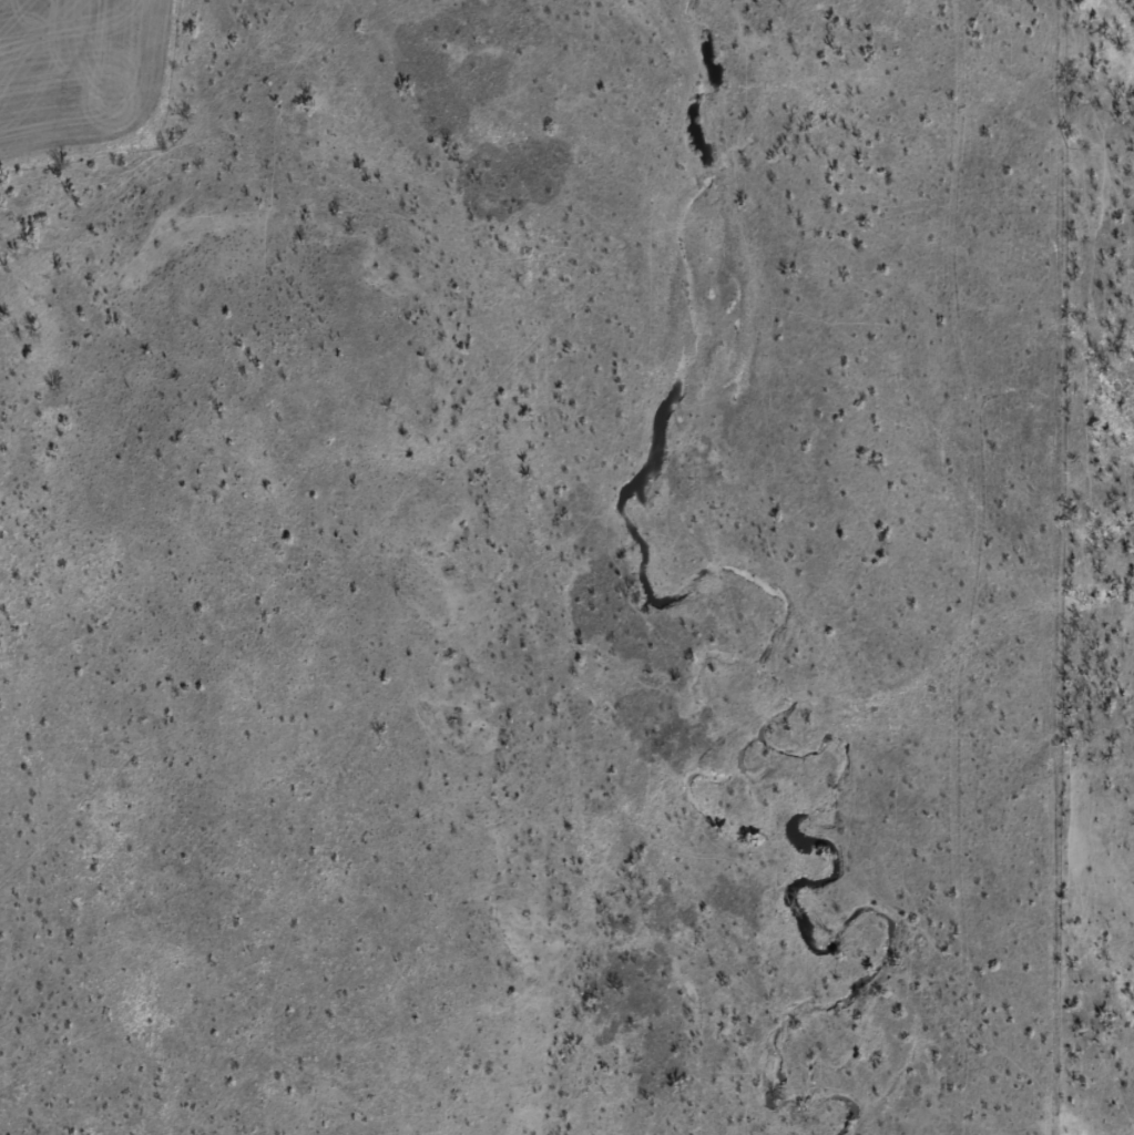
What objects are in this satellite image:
power tower: (1071, 142)

